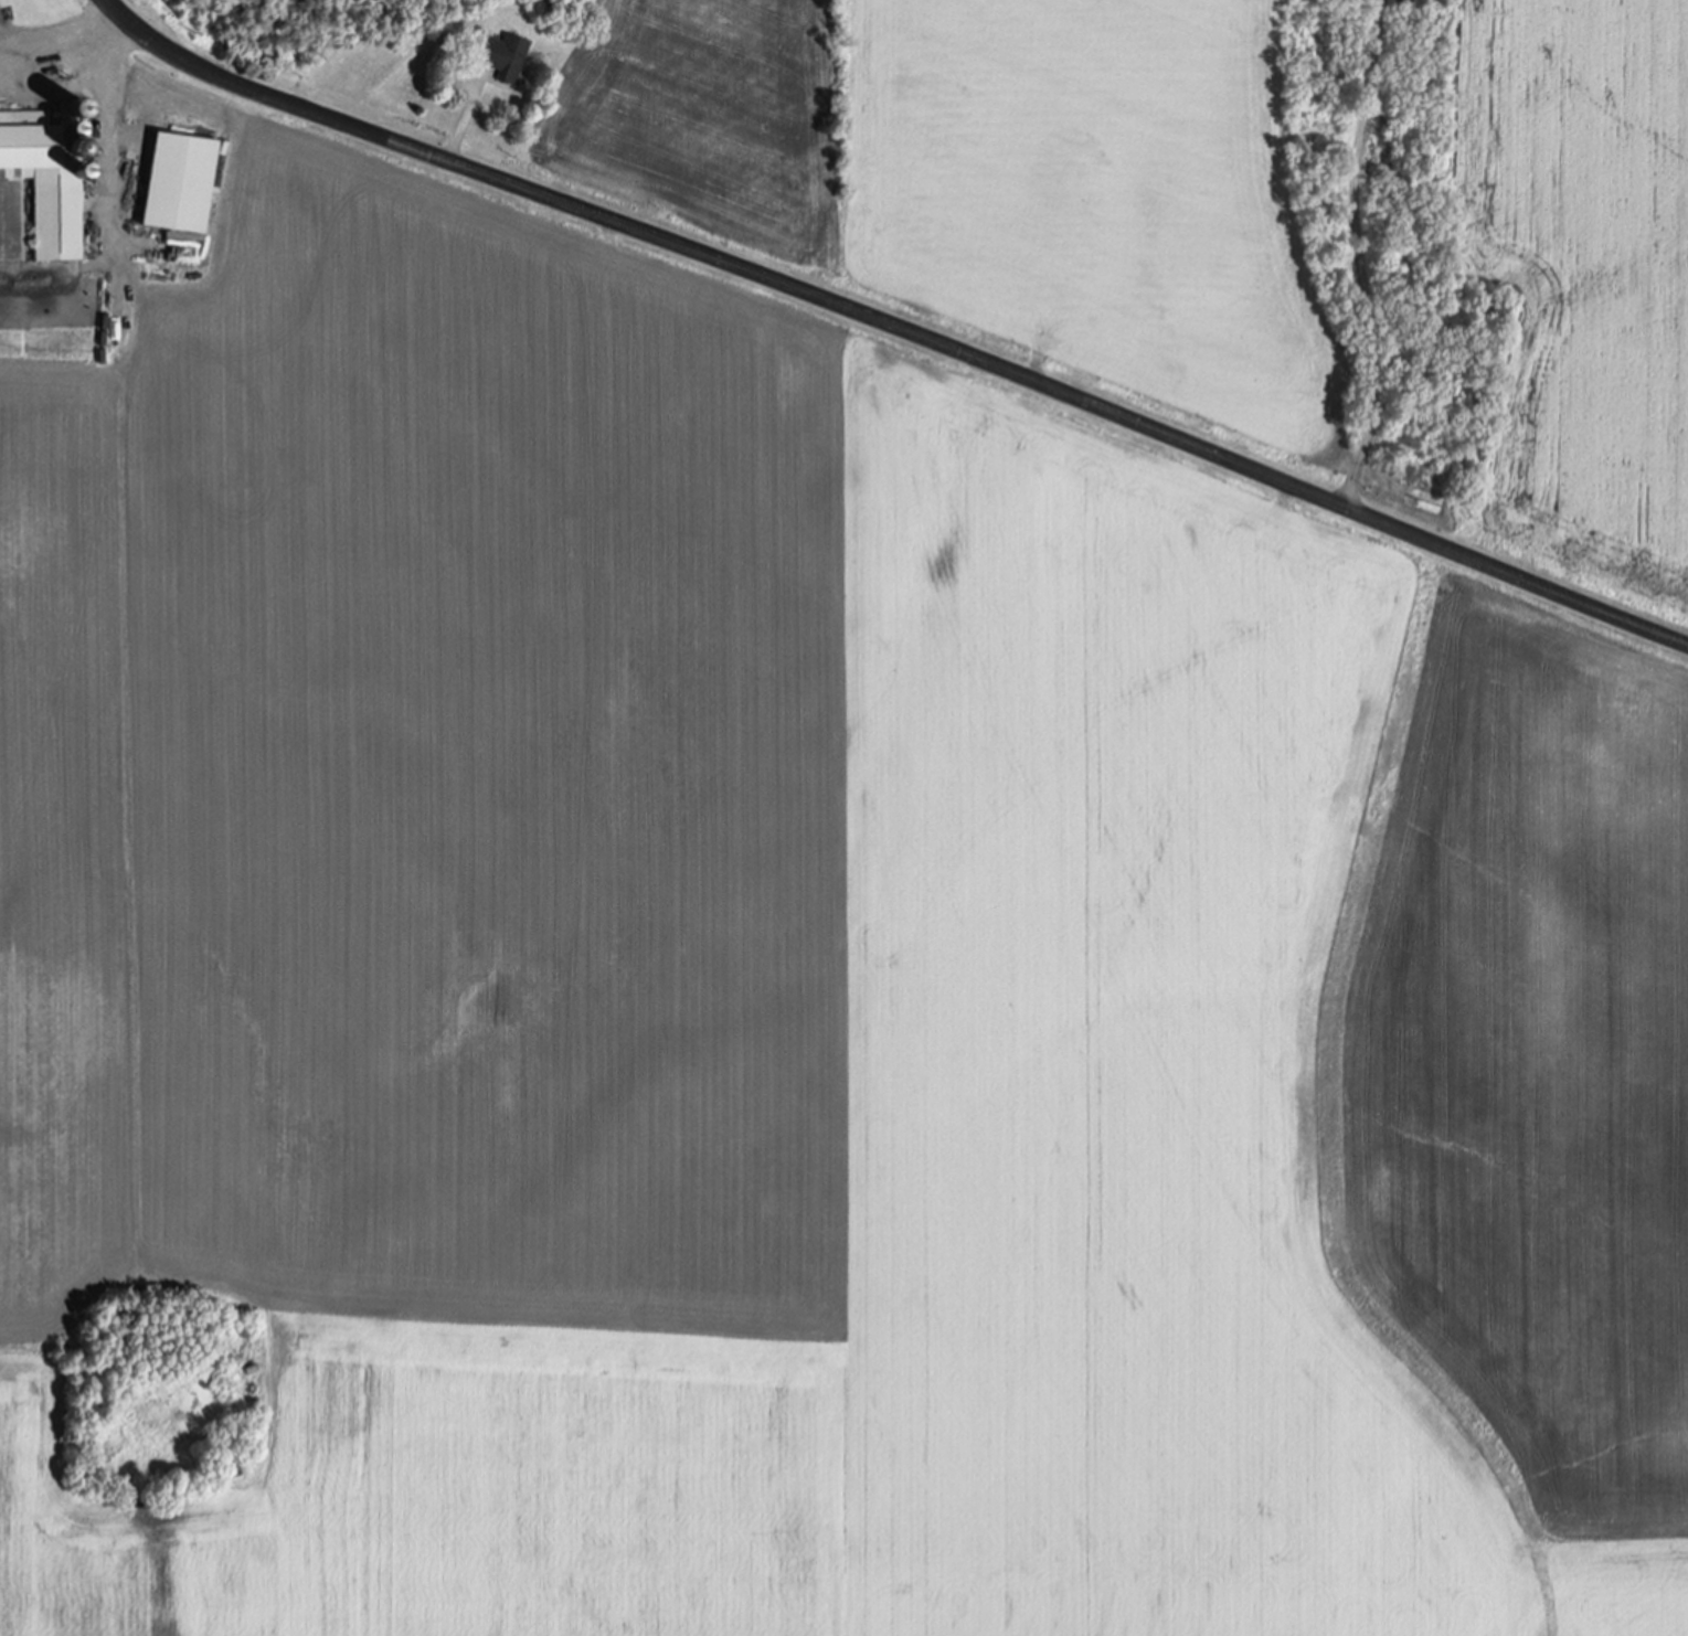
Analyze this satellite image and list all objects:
road: (52, 32)
building: (500, 59)
road: (73, 86)
road: (457, 125)
building: (45, 181)
building: (179, 185)
road: (1356, 255)
road: (891, 327)

